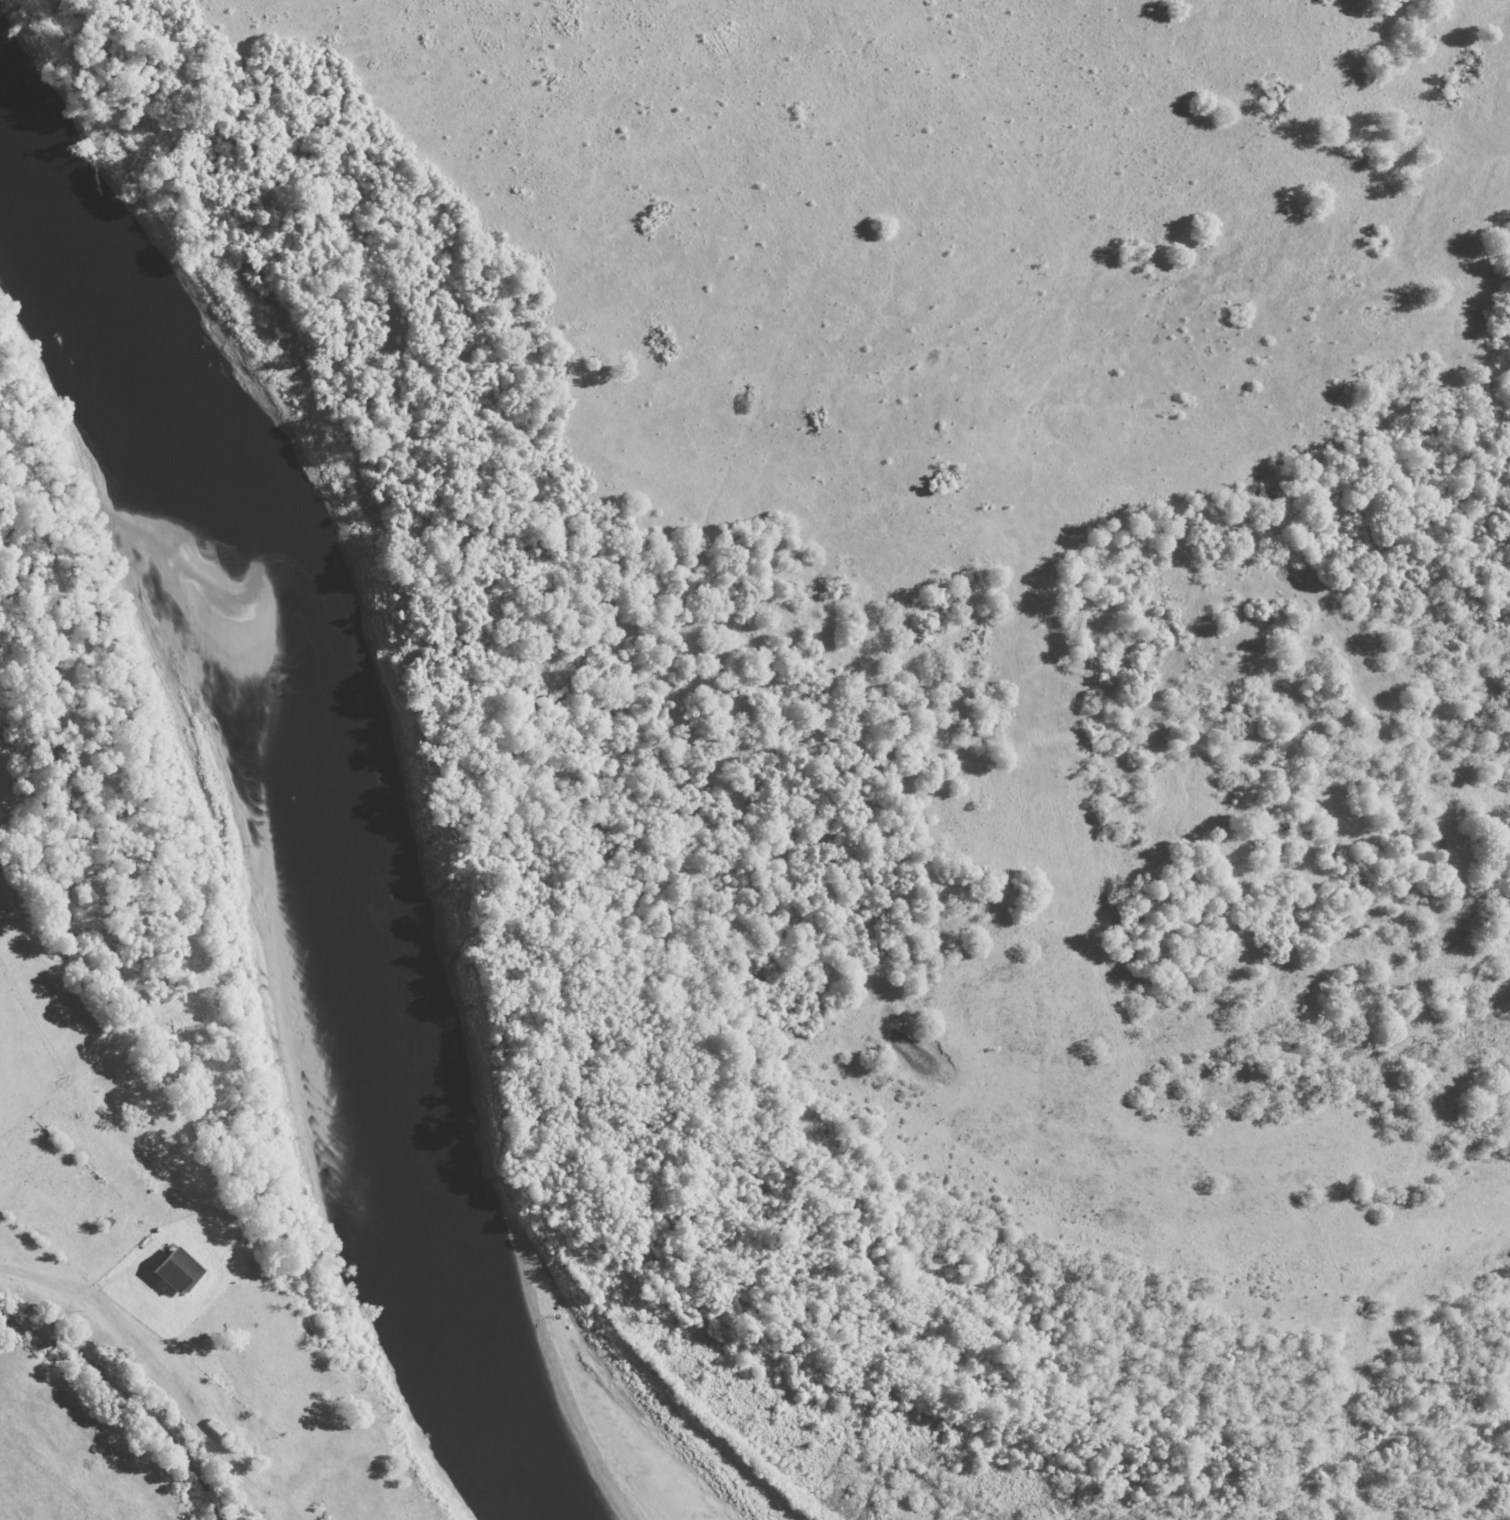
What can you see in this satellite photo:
river: (241, 645)
building: (173, 1270)
road: (155, 1362)
river: (496, 1362)

